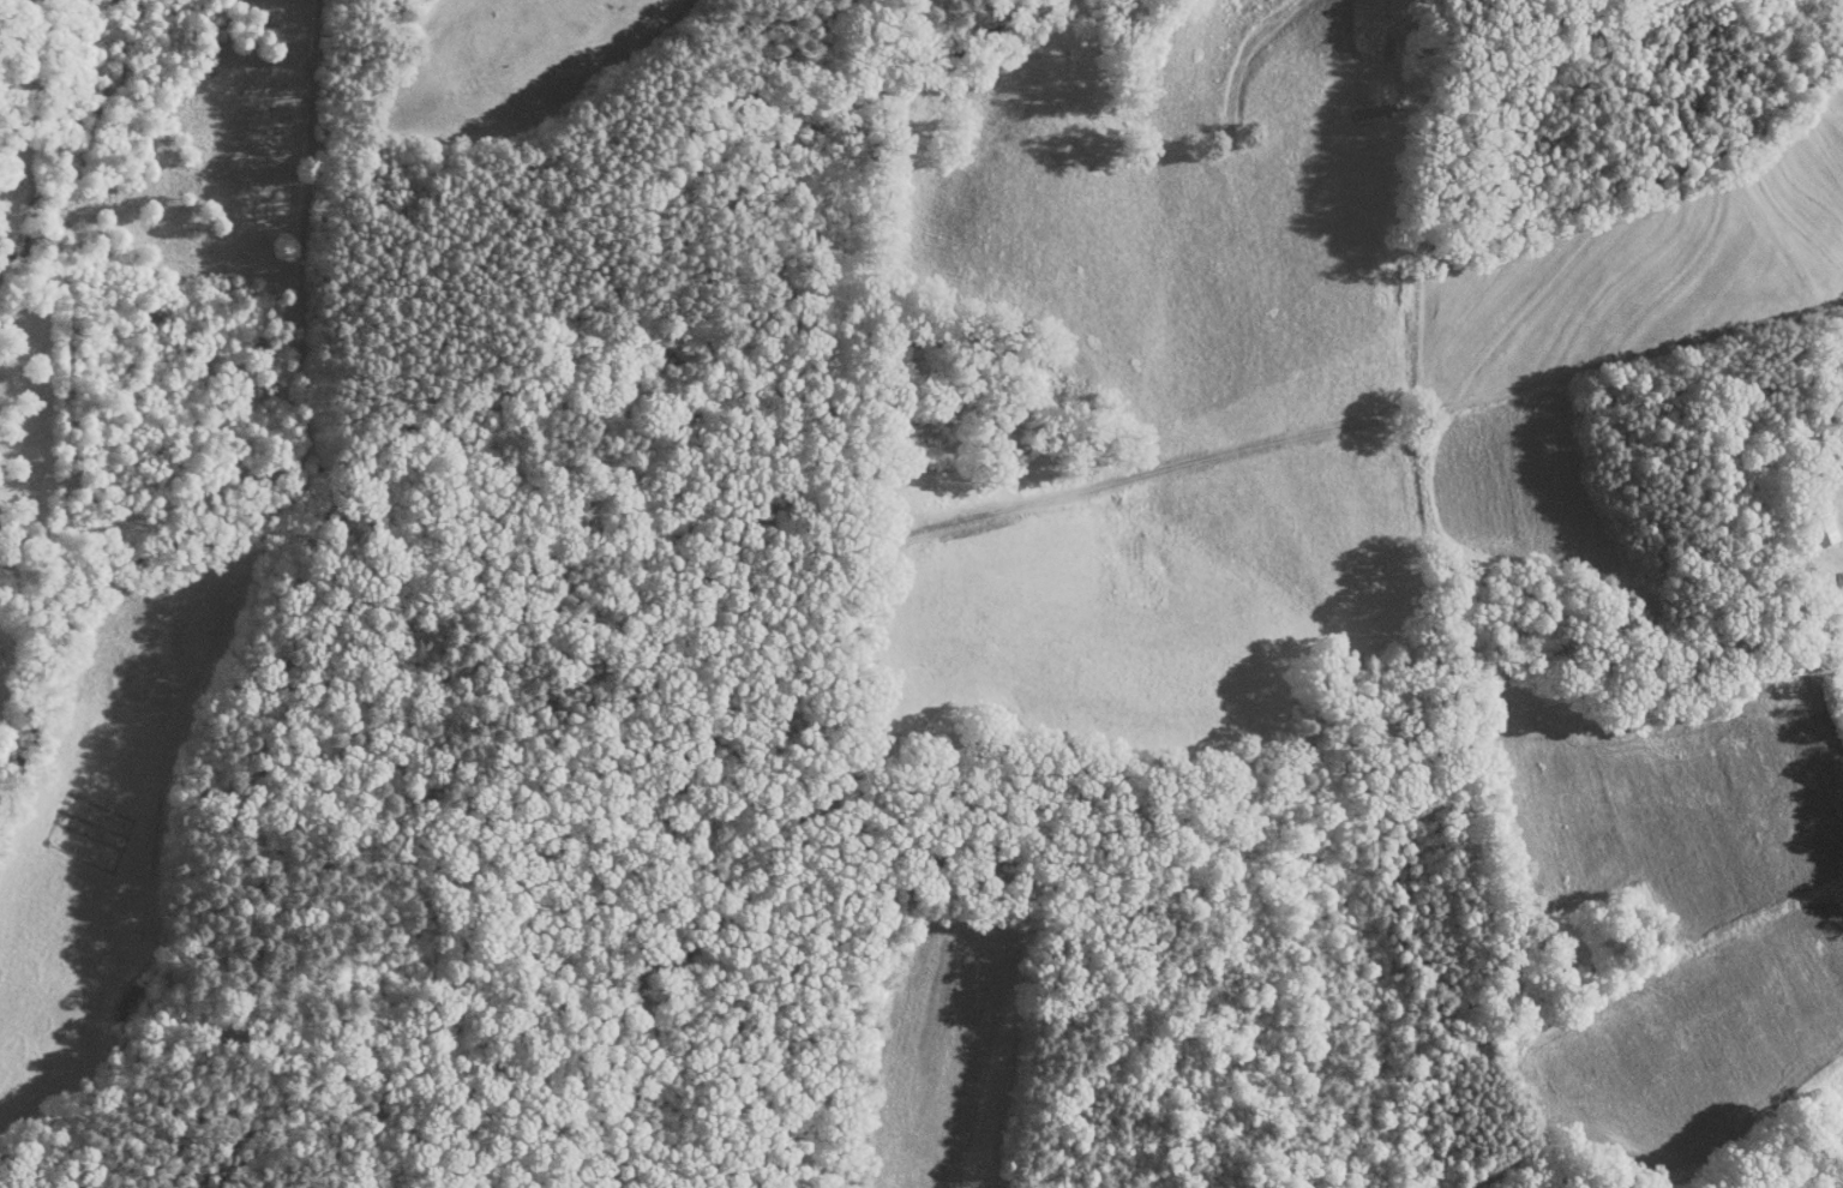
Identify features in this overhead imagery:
building: (1803, 520)
road: (1841, 553)

